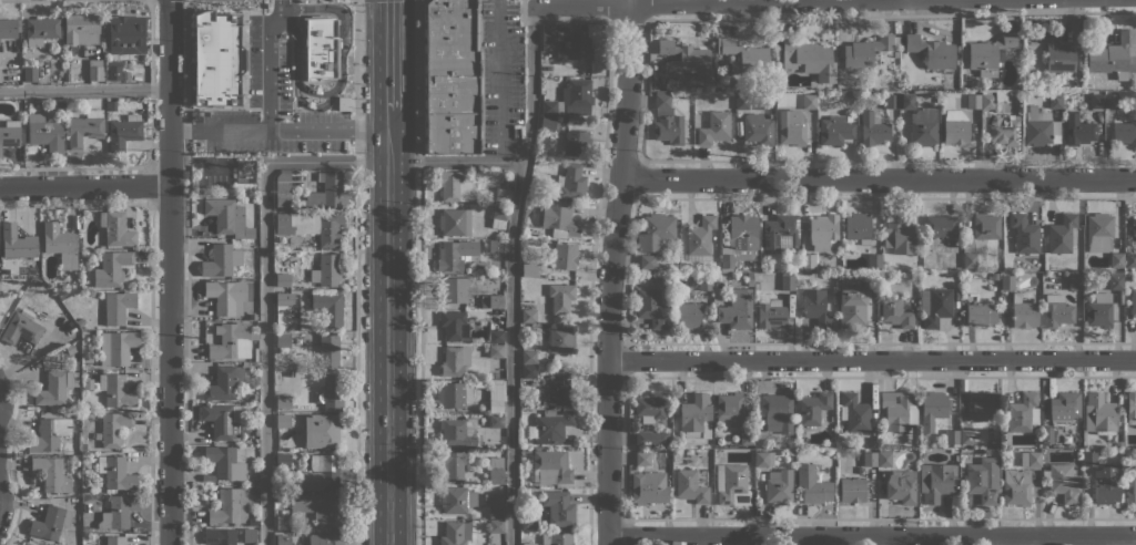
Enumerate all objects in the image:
road: (10, 0)
road: (745, 3)
road: (524, 6)
building: (337, 20)
building: (8, 28)
building: (81, 28)
building: (41, 30)
building: (125, 33)
building: (569, 42)
road: (150, 43)
building: (319, 48)
building: (866, 51)
building: (931, 51)
building: (1057, 53)
road: (388, 54)
building: (987, 54)
building: (744, 55)
building: (1115, 55)
building: (336, 58)
building: (809, 58)
building: (216, 59)
building: (686, 59)
road: (268, 62)
road: (186, 64)
building: (95, 70)
building: (114, 72)
building: (30, 73)
building: (65, 76)
road: (339, 78)
building: (452, 78)
road: (499, 80)
road: (84, 89)
building: (578, 92)
building: (1055, 99)
building: (741, 100)
building: (1096, 100)
building: (809, 101)
building: (891, 101)
building: (906, 101)
building: (973, 101)
building: (1109, 101)
building: (343, 102)
building: (112, 105)
road: (306, 105)
building: (59, 106)
building: (548, 106)
building: (849, 117)
building: (666, 121)
building: (551, 123)
building: (997, 123)
building: (791, 126)
building: (923, 126)
building: (955, 126)
building: (84, 127)
building: (714, 127)
building: (757, 127)
building: (1041, 127)
building: (873, 128)
building: (1078, 128)
road: (278, 130)
building: (834, 130)
building: (1125, 130)
building: (124, 132)
building: (9, 133)
building: (44, 133)
building: (576, 143)
road: (197, 160)
road: (878, 178)
building: (569, 182)
road: (84, 185)
building: (456, 186)
building: (281, 187)
building: (326, 191)
building: (503, 195)
building: (227, 217)
building: (498, 217)
building: (559, 220)
building: (454, 222)
road: (266, 225)
building: (312, 226)
building: (985, 226)
building: (1134, 226)
building: (858, 227)
building: (941, 227)
building: (114, 229)
building: (655, 230)
building: (822, 230)
building: (783, 232)
building: (1098, 233)
building: (1024, 234)
building: (1063, 234)
building: (897, 235)
building: (700, 238)
building: (740, 240)
building: (18, 245)
building: (61, 245)
building: (495, 246)
building: (456, 255)
building: (565, 256)
building: (972, 259)
building: (221, 260)
building: (808, 260)
building: (874, 260)
building: (1129, 260)
building: (647, 261)
building: (1116, 261)
building: (85, 265)
building: (111, 268)
building: (532, 268)
building: (326, 270)
road: (356, 271)
road: (420, 271)
road: (611, 271)
road: (169, 272)
road: (511, 275)
building: (994, 276)
building: (1126, 276)
building: (282, 279)
building: (750, 279)
building: (788, 280)
building: (1134, 280)
building: (1007, 281)
building: (1075, 281)
building: (706, 282)
building: (870, 282)
building: (1116, 282)
building: (755, 285)
building: (455, 288)
building: (92, 292)
building: (677, 295)
building: (225, 296)
building: (560, 297)
building: (282, 299)
building: (493, 301)
building: (1133, 304)
building: (328, 305)
building: (118, 306)
building: (933, 306)
building: (815, 307)
building: (652, 308)
building: (851, 308)
building: (737, 309)
building: (1056, 310)
building: (1098, 310)
building: (895, 311)
building: (1023, 311)
building: (770, 312)
building: (530, 315)
building: (981, 315)
building: (687, 316)
building: (1, 318)
building: (80, 321)
building: (454, 326)
road: (388, 327)
building: (22, 328)
building: (495, 336)
building: (283, 339)
building: (561, 339)
building: (231, 341)
building: (115, 346)
building: (70, 349)
building: (328, 350)
building: (495, 351)
building: (532, 356)
building: (453, 361)
road: (872, 361)
building: (248, 363)
building: (528, 372)
building: (224, 383)
building: (560, 388)
building: (51, 389)
building: (112, 390)
building: (496, 391)
building: (328, 392)
building: (454, 394)
building: (282, 400)
building: (1064, 405)
building: (495, 407)
building: (650, 407)
building: (982, 407)
building: (812, 408)
building: (1130, 408)
building: (728, 409)
building: (932, 409)
building: (674, 410)
building: (897, 410)
building: (777, 412)
building: (854, 412)
building: (1021, 412)
building: (1098, 414)
building: (696, 415)
building: (219, 421)
building: (283, 421)
building: (495, 421)
building: (552, 424)
building: (113, 428)
building: (321, 430)
building: (456, 432)
building: (49, 434)
building: (1046, 434)
building: (747, 436)
building: (952, 436)
building: (966, 436)
building: (651, 438)
building: (1118, 443)
building: (83, 446)
building: (642, 459)
building: (762, 459)
building: (870, 459)
building: (884, 459)
building: (1029, 459)
building: (1089, 459)
building: (283, 460)
building: (226, 461)
building: (453, 464)
building: (551, 466)
building: (496, 470)
building: (115, 473)
building: (319, 473)
building: (51, 474)
building: (254, 474)
building: (983, 480)
building: (936, 481)
building: (1062, 482)
building: (732, 484)
building: (812, 484)
building: (1106, 484)
building: (691, 485)
building: (778, 486)
building: (901, 486)
building: (1016, 486)
building: (648, 487)
building: (852, 490)
building: (1130, 491)
building: (456, 500)
building: (494, 504)
building: (230, 506)
building: (319, 507)
building: (558, 507)
building: (119, 511)
building: (50, 522)
building: (283, 522)
building: (528, 522)
building: (496, 526)
building: (455, 533)
building: (250, 535)
building: (220, 536)
road: (872, 536)
building: (556, 538)
building: (283, 539)
building: (325, 539)
building: (111, 541)
building: (26, 543)
building: (529, 544)

